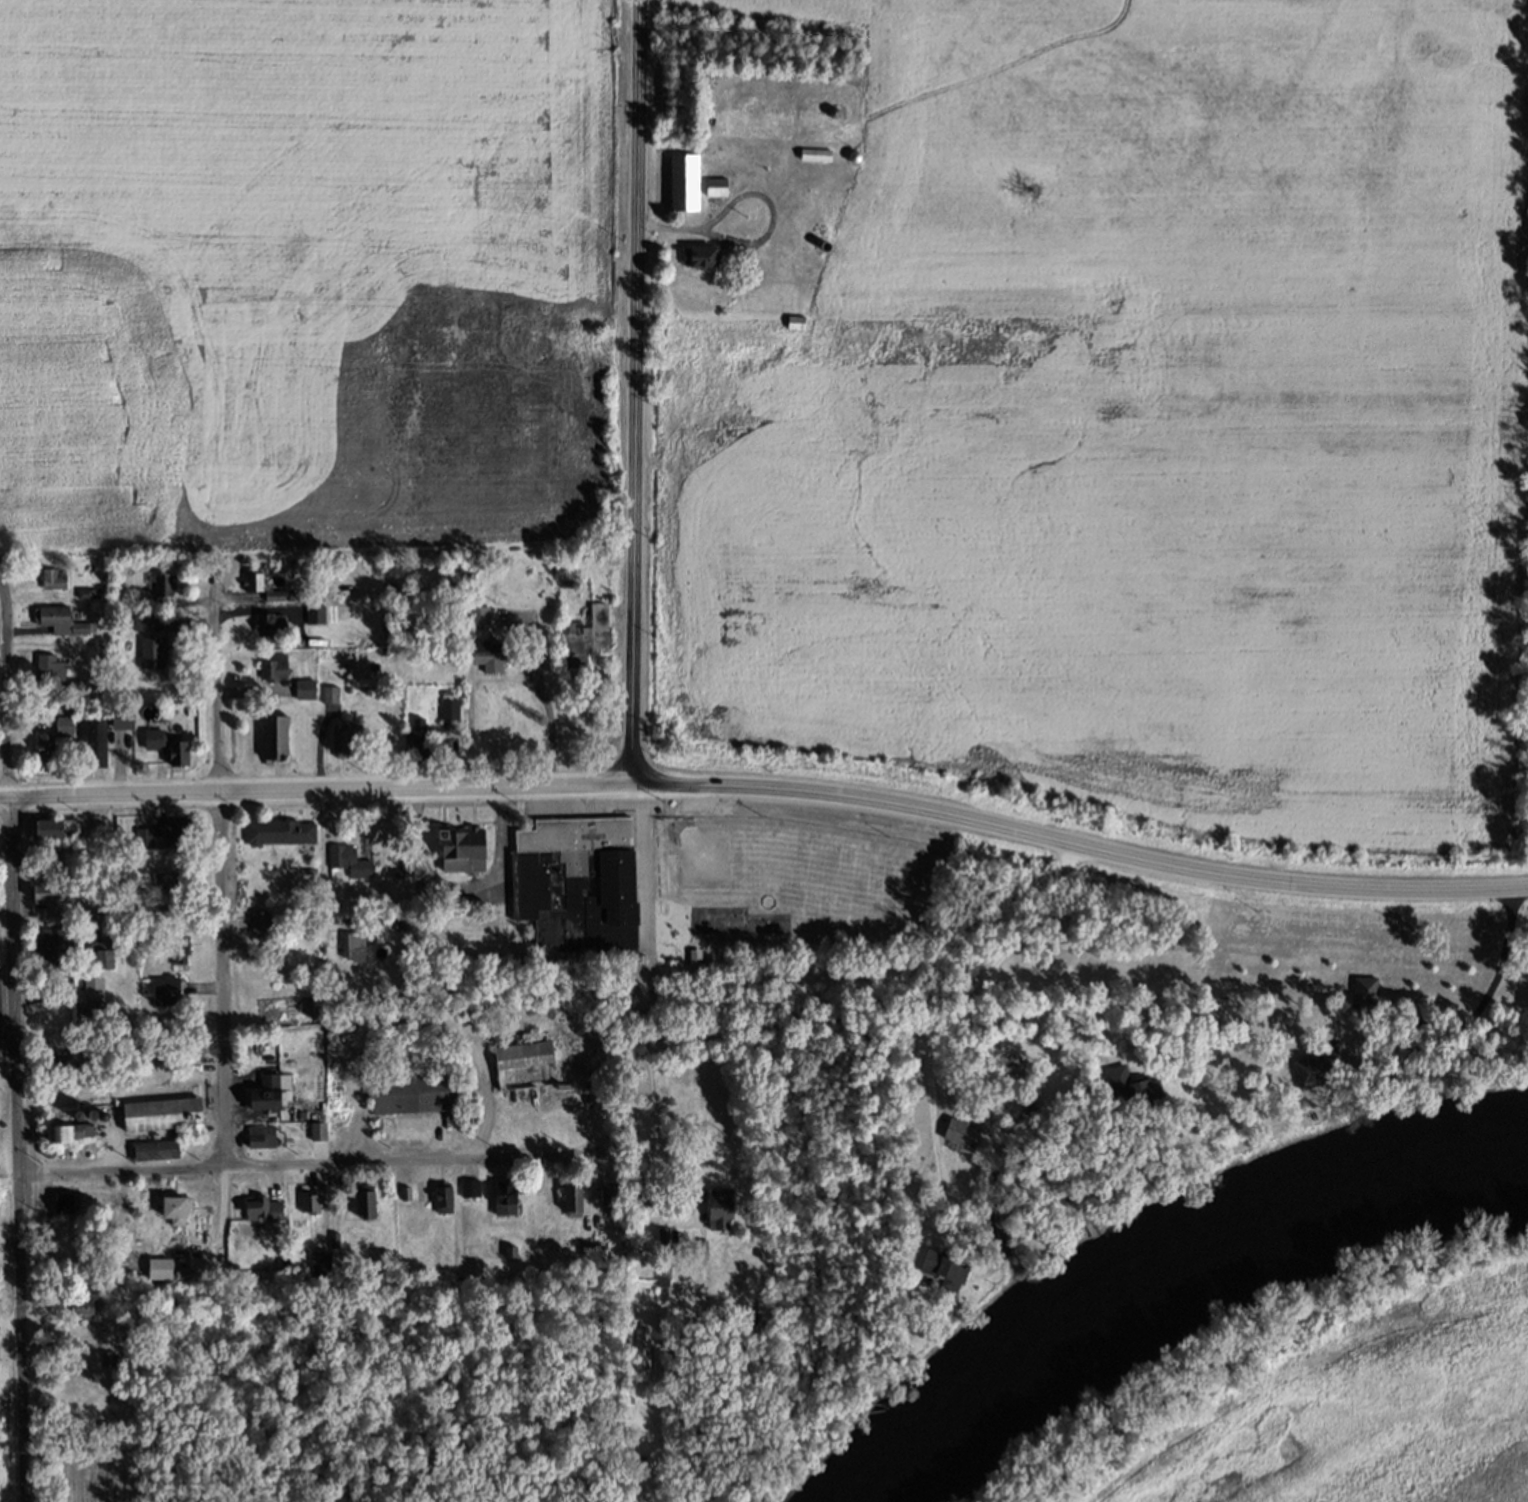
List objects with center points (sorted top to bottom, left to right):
building: (689, 181)
building: (718, 185)
building: (811, 229)
building: (705, 257)
building: (790, 322)
road: (633, 392)
building: (54, 577)
building: (166, 583)
building: (265, 586)
building: (85, 591)
building: (315, 613)
building: (56, 614)
building: (146, 620)
building: (480, 620)
building: (272, 622)
building: (591, 631)
building: (152, 651)
building: (489, 662)
building: (276, 667)
road: (523, 668)
building: (52, 672)
road: (6, 681)
building: (307, 687)
building: (125, 712)
building: (345, 736)
building: (278, 738)
building: (418, 738)
building: (173, 746)
building: (94, 747)
road: (317, 787)
road: (3, 797)
building: (58, 827)
building: (177, 828)
building: (283, 830)
road: (1077, 846)
building: (463, 856)
building: (352, 858)
road: (216, 864)
road: (646, 864)
building: (168, 876)
building: (127, 877)
building: (574, 883)
building: (65, 891)
road: (108, 905)
building: (262, 920)
building: (353, 945)
building: (52, 946)
building: (181, 948)
building: (107, 951)
road: (769, 973)
building: (1367, 989)
building: (169, 990)
road: (1038, 999)
building: (95, 1003)
road: (1417, 1050)
building: (524, 1060)
road: (650, 1060)
road: (930, 1061)
building: (1318, 1069)
building: (1132, 1091)
building: (269, 1093)
building: (413, 1095)
building: (166, 1115)
building: (319, 1132)
building: (67, 1136)
building: (963, 1136)
building: (262, 1137)
road: (15, 1149)
building: (154, 1151)
road: (430, 1160)
road: (120, 1171)
road: (8, 1177)
building: (469, 1189)
building: (648, 1192)
building: (615, 1194)
building: (406, 1195)
building: (573, 1198)
building: (281, 1200)
building: (444, 1200)
building: (506, 1204)
building: (368, 1205)
building: (71, 1206)
building: (314, 1206)
building: (178, 1209)
building: (263, 1211)
building: (719, 1211)
road: (221, 1226)
building: (511, 1249)
building: (588, 1249)
building: (702, 1250)
building: (322, 1265)
building: (161, 1270)
building: (944, 1271)
river: (1180, 1294)
building: (86, 1297)
building: (748, 1323)
road: (9, 1324)
road: (76, 1344)
building: (641, 1349)
building: (106, 1359)
building: (0, 1379)

